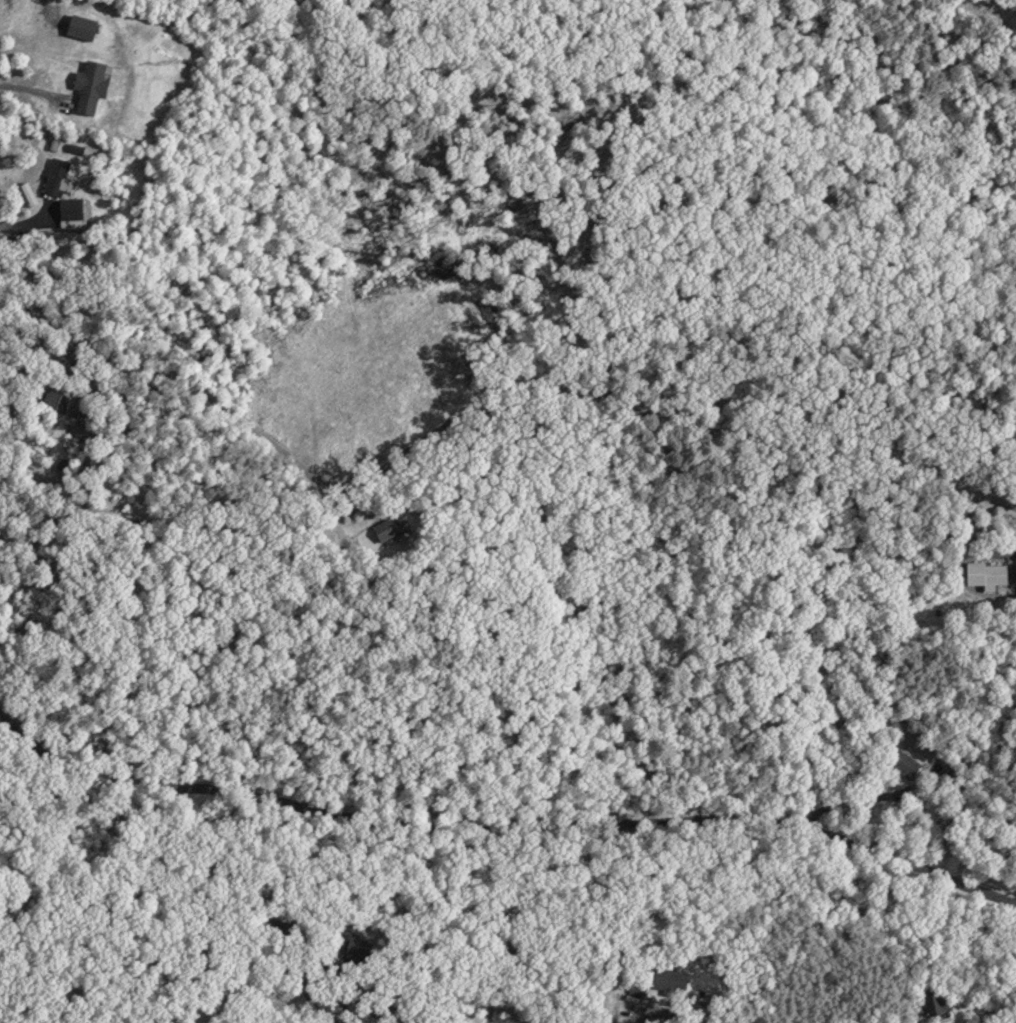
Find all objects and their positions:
building: (84, 24)
building: (93, 83)
building: (58, 174)
building: (54, 400)
road: (469, 405)
building: (387, 526)
building: (989, 571)
road: (345, 668)
building: (907, 761)
road: (863, 805)
road: (505, 817)
building: (669, 977)
building: (936, 1000)

